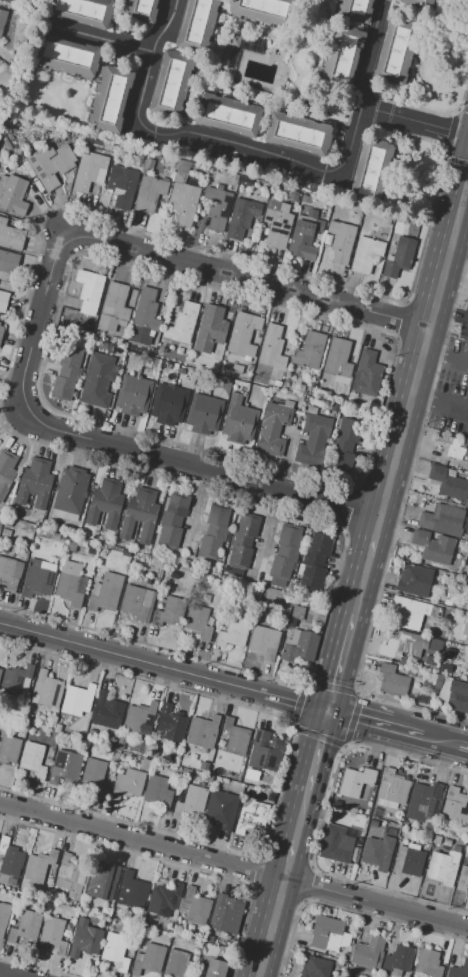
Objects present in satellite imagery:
building: (6, 1)
building: (416, 3)
building: (354, 9)
building: (141, 10)
building: (262, 10)
building: (81, 12)
building: (2, 19)
building: (195, 24)
road: (103, 39)
building: (236, 50)
building: (394, 51)
building: (66, 54)
building: (341, 57)
building: (170, 83)
building: (110, 99)
building: (226, 115)
road: (418, 124)
building: (296, 133)
building: (87, 140)
building: (96, 145)
building: (107, 146)
road: (267, 152)
building: (149, 163)
building: (44, 168)
building: (89, 171)
building: (369, 171)
building: (245, 182)
building: (122, 186)
road: (466, 187)
building: (149, 193)
building: (12, 194)
road: (466, 195)
building: (292, 196)
building: (184, 203)
building: (273, 205)
building: (217, 208)
building: (311, 213)
building: (241, 217)
building: (277, 227)
building: (10, 236)
building: (304, 239)
building: (342, 241)
road: (459, 247)
building: (365, 254)
building: (399, 258)
road: (445, 260)
building: (8, 262)
road: (245, 276)
building: (89, 290)
building: (3, 301)
building: (113, 308)
building: (146, 310)
road: (39, 315)
building: (182, 323)
building: (86, 325)
building: (210, 327)
building: (1, 332)
building: (243, 334)
building: (102, 346)
building: (272, 347)
building: (309, 350)
road: (445, 354)
building: (337, 358)
building: (247, 359)
building: (172, 366)
building: (250, 367)
building: (236, 368)
building: (181, 371)
building: (309, 372)
building: (66, 373)
building: (367, 374)
building: (97, 379)
building: (287, 380)
building: (277, 384)
building: (237, 388)
building: (132, 395)
road: (440, 403)
building: (168, 404)
building: (288, 404)
building: (312, 410)
building: (204, 414)
building: (239, 420)
road: (403, 421)
building: (272, 429)
building: (347, 432)
building: (312, 440)
building: (451, 448)
road: (196, 468)
building: (6, 471)
building: (448, 482)
building: (34, 483)
building: (70, 492)
building: (104, 504)
building: (466, 504)
road: (197, 507)
building: (13, 512)
building: (140, 514)
building: (172, 520)
building: (442, 520)
building: (7, 522)
building: (6, 531)
building: (213, 534)
building: (55, 535)
building: (92, 535)
road: (372, 538)
building: (243, 543)
building: (71, 546)
building: (433, 547)
building: (285, 553)
building: (315, 559)
building: (157, 563)
building: (10, 573)
building: (202, 577)
building: (38, 579)
building: (414, 581)
building: (70, 584)
road: (359, 585)
building: (105, 592)
building: (136, 602)
building: (169, 611)
building: (297, 611)
building: (413, 613)
building: (198, 622)
building: (233, 633)
building: (464, 634)
building: (264, 642)
building: (437, 643)
building: (402, 644)
building: (301, 647)
road: (131, 658)
road: (339, 659)
building: (0, 668)
building: (467, 668)
building: (0, 670)
building: (410, 673)
building: (14, 679)
building: (393, 681)
building: (438, 681)
building: (426, 685)
building: (47, 689)
building: (441, 690)
building: (458, 696)
building: (77, 698)
road: (294, 699)
building: (24, 702)
traffic signals: (326, 708)
building: (107, 711)
road: (354, 714)
building: (28, 718)
building: (139, 718)
building: (170, 723)
building: (57, 728)
road: (403, 728)
building: (202, 732)
building: (235, 738)
road: (443, 738)
building: (111, 743)
road: (465, 743)
building: (119, 746)
road: (314, 749)
building: (9, 750)
building: (265, 751)
building: (154, 753)
building: (32, 759)
building: (143, 764)
building: (223, 764)
building: (204, 766)
building: (65, 768)
building: (95, 776)
building: (263, 777)
building: (356, 781)
building: (127, 784)
building: (392, 786)
building: (157, 792)
building: (191, 802)
building: (423, 802)
building: (455, 806)
building: (221, 809)
building: (374, 813)
road: (298, 814)
building: (253, 816)
building: (373, 824)
building: (436, 840)
building: (447, 841)
building: (338, 843)
building: (456, 848)
building: (377, 853)
road: (286, 857)
building: (9, 858)
building: (409, 860)
road: (234, 864)
building: (39, 867)
building: (443, 867)
building: (71, 874)
building: (462, 879)
building: (102, 880)
building: (132, 890)
building: (164, 899)
building: (89, 907)
building: (196, 907)
building: (227, 913)
building: (3, 917)
road: (267, 926)
building: (25, 927)
building: (53, 933)
building: (326, 934)
building: (85, 939)
building: (115, 950)
building: (368, 951)
building: (150, 959)
building: (398, 960)
building: (338, 963)
building: (428, 963)
building: (177, 964)
building: (315, 967)
building: (212, 968)
building: (458, 970)
road: (7, 974)

